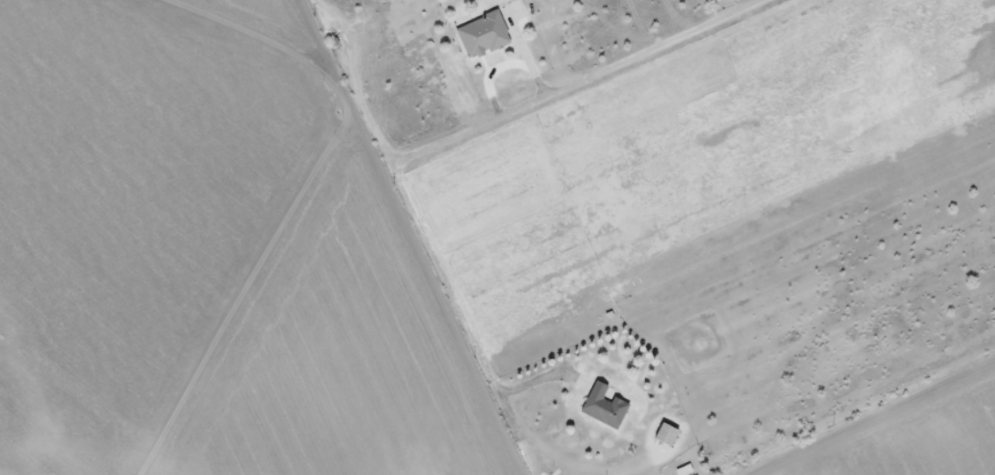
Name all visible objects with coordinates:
building: (482, 35)
road: (37, 374)
building: (605, 407)
road: (871, 418)
building: (667, 435)

